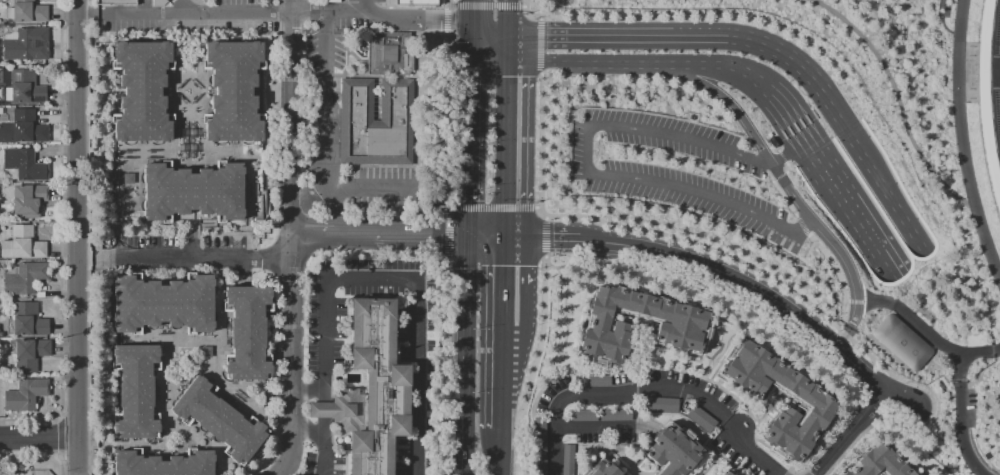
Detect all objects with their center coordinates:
building: (115, 1)
building: (164, 2)
road: (445, 4)
road: (451, 4)
building: (417, 5)
road: (488, 5)
road: (191, 6)
road: (523, 6)
road: (291, 7)
road: (366, 7)
building: (27, 11)
road: (288, 14)
road: (467, 14)
road: (528, 14)
road: (507, 16)
road: (445, 20)
traffic signals: (467, 29)
road: (487, 31)
traffic signals: (507, 33)
road: (588, 35)
road: (697, 35)
building: (24, 43)
road: (467, 44)
road: (539, 46)
road: (507, 47)
building: (388, 54)
road: (784, 55)
traffic signals: (467, 60)
road: (487, 60)
traffic signals: (507, 61)
road: (532, 61)
road: (668, 63)
road: (951, 71)
building: (26, 87)
road: (878, 89)
building: (142, 90)
building: (233, 90)
road: (325, 108)
building: (982, 111)
road: (807, 112)
road: (800, 116)
road: (444, 117)
road: (795, 119)
building: (376, 123)
road: (789, 124)
building: (23, 128)
road: (847, 128)
road: (784, 129)
road: (778, 133)
road: (291, 137)
building: (771, 141)
road: (540, 144)
road: (465, 147)
road: (505, 149)
road: (812, 151)
road: (781, 156)
road: (781, 157)
road: (949, 162)
building: (24, 164)
parking lot: (677, 171)
road: (590, 172)
road: (827, 175)
road: (778, 176)
road: (881, 177)
road: (357, 188)
building: (193, 191)
road: (794, 194)
building: (28, 200)
road: (444, 206)
road: (536, 206)
road: (489, 207)
road: (545, 217)
road: (860, 227)
road: (313, 232)
road: (353, 232)
road: (447, 233)
road: (418, 234)
traffic signals: (465, 235)
road: (484, 236)
road: (78, 237)
road: (545, 237)
traffic signals: (503, 238)
road: (541, 238)
building: (22, 244)
road: (198, 259)
road: (885, 268)
road: (771, 277)
building: (25, 278)
road: (502, 281)
road: (408, 284)
road: (761, 291)
building: (163, 303)
road: (564, 317)
building: (28, 319)
road: (466, 326)
building: (681, 326)
road: (928, 329)
building: (247, 331)
building: (900, 341)
building: (30, 353)
traffic signals: (993, 363)
road: (533, 365)
road: (439, 366)
road: (649, 367)
road: (291, 369)
road: (501, 377)
traffic signals: (971, 377)
building: (592, 383)
building: (377, 387)
building: (135, 390)
building: (25, 394)
road: (306, 394)
road: (612, 397)
building: (816, 403)
building: (661, 406)
building: (341, 409)
road: (745, 414)
building: (582, 416)
building: (614, 416)
building: (218, 419)
road: (958, 419)
building: (700, 420)
road: (747, 422)
road: (305, 430)
road: (847, 432)
road: (320, 434)
road: (40, 436)
building: (539, 436)
road: (466, 446)
road: (748, 450)
road: (499, 452)
building: (670, 452)
road: (726, 459)
building: (568, 460)
building: (880, 463)
building: (163, 464)
road: (709, 464)
building: (539, 465)
building: (601, 468)
building: (725, 474)

